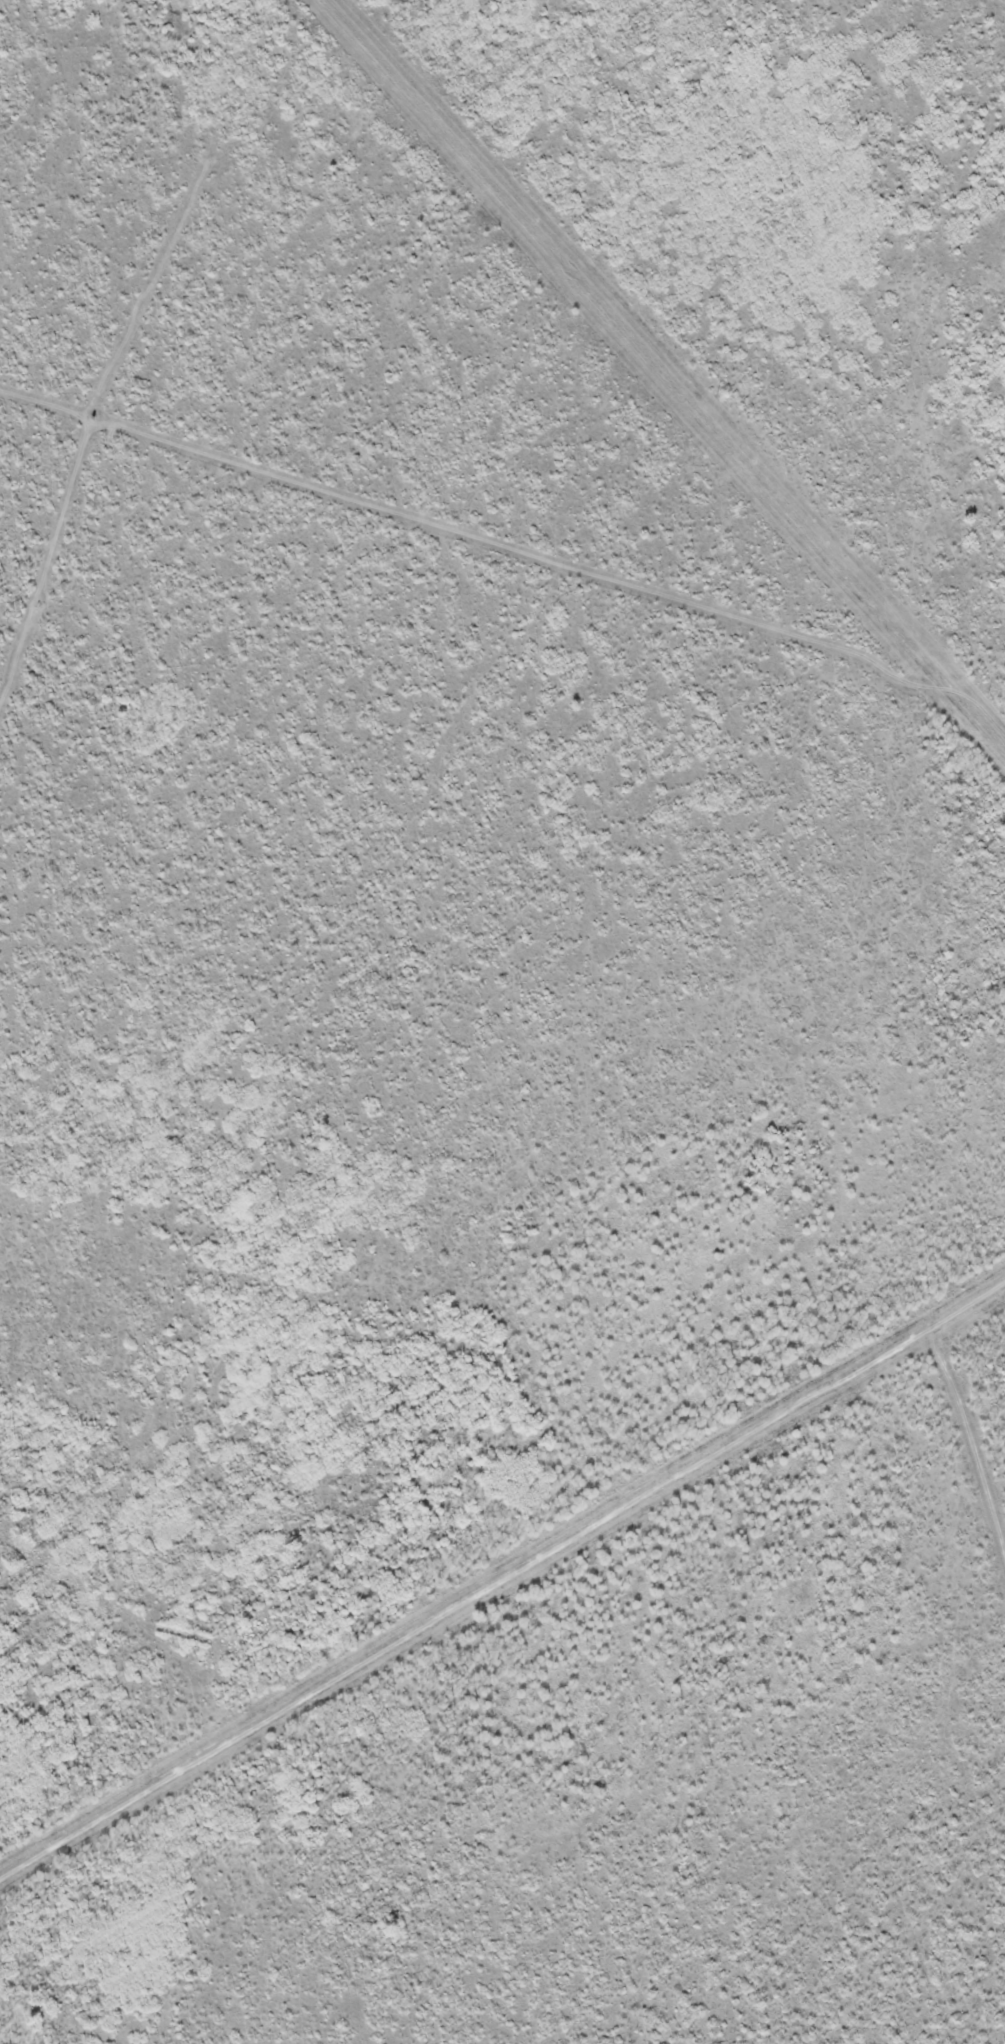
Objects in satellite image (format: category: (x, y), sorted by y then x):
road: (502, 1584)

